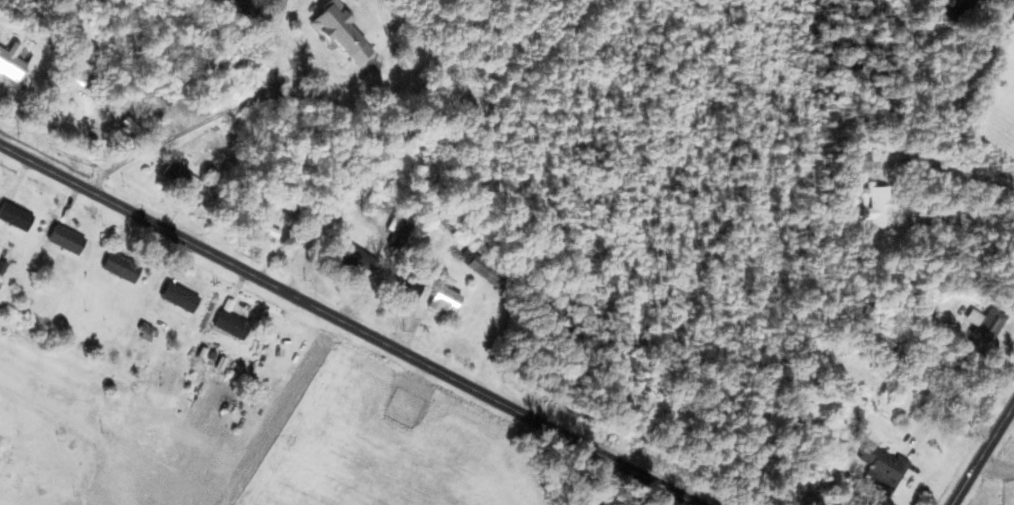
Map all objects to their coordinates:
building: (346, 33)
building: (94, 43)
building: (13, 61)
road: (324, 82)
building: (182, 174)
building: (877, 202)
building: (370, 203)
building: (17, 216)
building: (271, 233)
building: (68, 239)
building: (355, 256)
building: (477, 263)
building: (124, 267)
building: (411, 286)
building: (182, 297)
building: (447, 300)
building: (990, 320)
road: (350, 323)
building: (234, 324)
building: (149, 333)
park: (404, 406)
building: (4, 443)
road: (983, 455)
building: (885, 464)
solar farm: (1009, 491)

